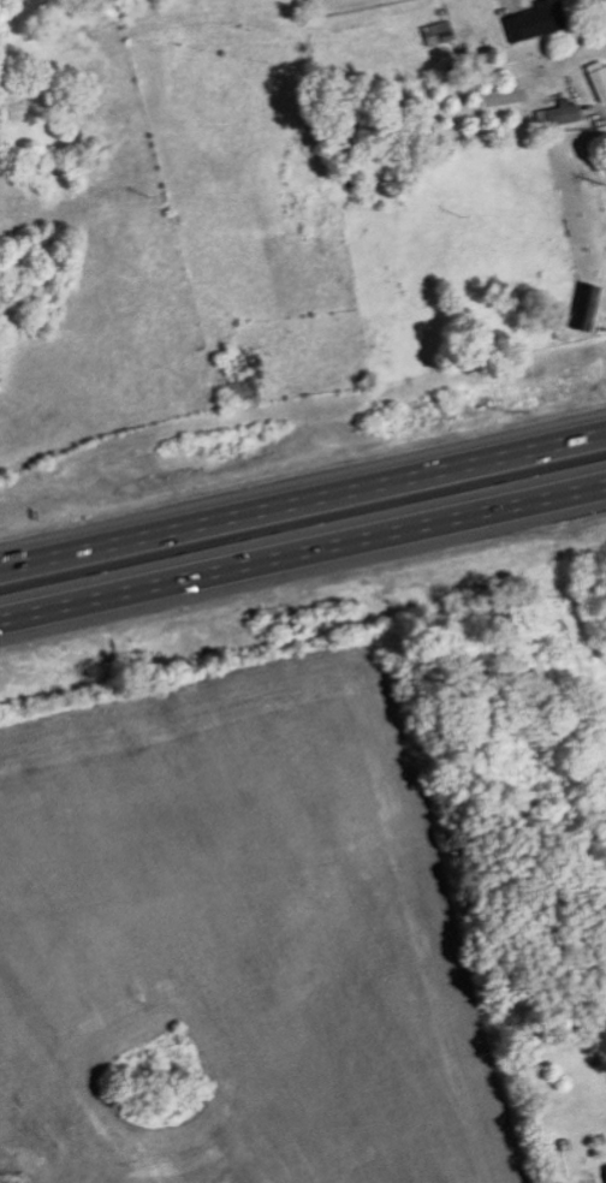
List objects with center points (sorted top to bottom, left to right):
building: (524, 23)
building: (435, 32)
building: (596, 79)
building: (559, 112)
building: (583, 305)
road: (302, 489)
road: (303, 566)
building: (605, 1169)

